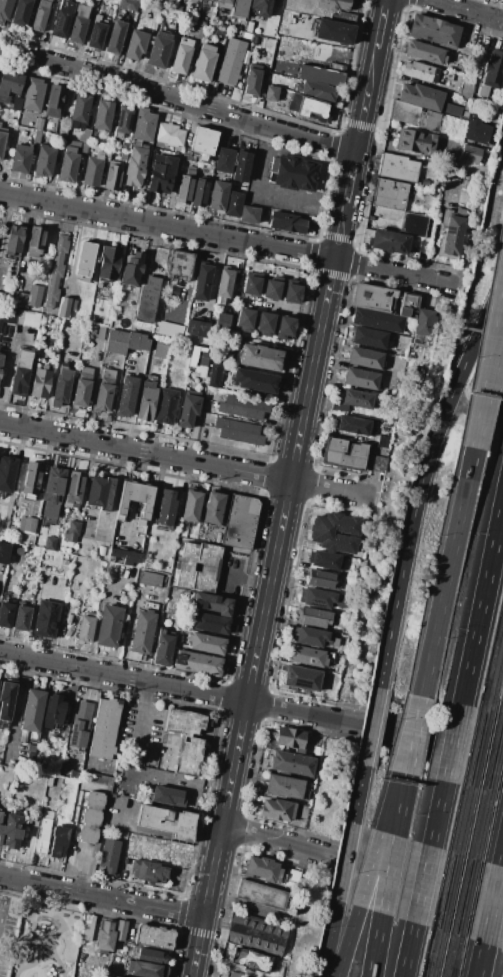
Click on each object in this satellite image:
building: (224, 4)
building: (333, 4)
building: (128, 5)
building: (261, 7)
building: (5, 8)
building: (240, 9)
road: (466, 11)
building: (21, 12)
building: (40, 16)
building: (343, 17)
building: (61, 19)
building: (78, 23)
building: (198, 28)
building: (219, 29)
building: (247, 29)
building: (433, 31)
building: (97, 32)
building: (333, 32)
building: (115, 37)
building: (136, 45)
building: (159, 50)
building: (424, 52)
building: (183, 55)
building: (231, 61)
building: (204, 62)
building: (451, 66)
building: (337, 67)
building: (421, 71)
building: (321, 75)
building: (491, 75)
building: (253, 79)
building: (9, 85)
building: (466, 87)
building: (317, 90)
building: (271, 93)
building: (33, 95)
building: (421, 96)
road: (177, 99)
building: (55, 100)
building: (17, 103)
building: (466, 107)
building: (309, 108)
building: (450, 109)
building: (80, 111)
building: (465, 113)
building: (415, 115)
building: (103, 116)
building: (123, 121)
building: (0, 124)
building: (38, 124)
building: (143, 125)
building: (478, 131)
building: (169, 134)
building: (84, 136)
building: (36, 137)
building: (2, 141)
building: (203, 142)
building: (414, 142)
building: (124, 146)
building: (72, 147)
building: (83, 149)
building: (470, 154)
building: (122, 155)
building: (21, 158)
building: (225, 160)
building: (44, 162)
building: (136, 166)
building: (397, 166)
building: (68, 167)
building: (241, 167)
building: (92, 169)
building: (293, 173)
building: (161, 174)
building: (113, 176)
building: (186, 186)
building: (413, 189)
building: (200, 192)
building: (390, 193)
building: (218, 196)
building: (234, 203)
building: (249, 214)
road: (4, 216)
building: (385, 218)
building: (287, 223)
building: (413, 224)
building: (451, 233)
road: (228, 238)
building: (13, 240)
building: (35, 240)
building: (389, 241)
building: (424, 245)
road: (73, 251)
building: (87, 260)
building: (108, 265)
building: (179, 266)
building: (132, 269)
building: (55, 271)
building: (202, 281)
building: (252, 283)
building: (224, 286)
building: (272, 287)
building: (292, 292)
building: (28, 297)
building: (2, 298)
building: (373, 298)
building: (147, 300)
building: (66, 306)
building: (409, 306)
building: (8, 316)
building: (28, 319)
building: (244, 319)
building: (377, 320)
building: (66, 322)
building: (423, 322)
building: (265, 323)
building: (222, 324)
building: (285, 327)
building: (197, 328)
building: (90, 329)
building: (368, 338)
building: (116, 341)
building: (137, 342)
building: (161, 348)
road: (486, 353)
building: (260, 357)
building: (201, 358)
building: (364, 358)
building: (1, 360)
road: (7, 363)
building: (21, 371)
building: (396, 371)
building: (214, 374)
building: (360, 378)
road: (50, 381)
building: (254, 381)
building: (40, 382)
road: (487, 383)
building: (61, 386)
building: (82, 387)
building: (105, 390)
building: (357, 398)
building: (125, 399)
building: (146, 400)
building: (166, 406)
building: (244, 406)
building: (339, 406)
building: (188, 410)
building: (355, 425)
building: (239, 431)
building: (385, 441)
building: (334, 449)
road: (186, 459)
building: (376, 463)
building: (7, 473)
road: (39, 479)
road: (420, 479)
building: (31, 480)
road: (287, 488)
building: (73, 491)
building: (53, 493)
building: (100, 493)
road: (112, 497)
building: (135, 501)
building: (190, 506)
building: (213, 508)
building: (166, 509)
building: (240, 522)
building: (27, 525)
building: (72, 532)
building: (335, 532)
building: (53, 534)
building: (37, 543)
building: (49, 543)
building: (18, 551)
building: (101, 551)
building: (4, 552)
building: (124, 556)
building: (326, 560)
building: (197, 565)
building: (120, 571)
road: (446, 571)
building: (351, 573)
road: (243, 577)
building: (150, 579)
building: (325, 579)
building: (321, 599)
road: (481, 602)
building: (72, 604)
building: (213, 604)
building: (150, 605)
road: (34, 609)
building: (6, 614)
building: (21, 617)
building: (68, 618)
building: (315, 618)
building: (46, 619)
road: (95, 619)
building: (210, 623)
building: (109, 626)
building: (86, 629)
building: (143, 631)
building: (314, 637)
building: (201, 642)
building: (163, 650)
building: (342, 653)
building: (307, 656)
railway: (492, 662)
building: (197, 663)
building: (301, 677)
railway: (497, 685)
building: (6, 702)
road: (251, 703)
railway: (501, 707)
road: (13, 712)
building: (53, 712)
building: (32, 713)
road: (139, 719)
building: (183, 722)
building: (81, 725)
road: (371, 726)
building: (105, 728)
road: (410, 734)
road: (414, 735)
building: (23, 736)
building: (290, 739)
road: (452, 742)
building: (31, 748)
railway: (473, 749)
railway: (482, 751)
railway: (491, 752)
building: (0, 753)
building: (189, 756)
building: (293, 765)
building: (66, 767)
railway: (497, 768)
building: (73, 774)
building: (49, 780)
building: (284, 787)
road: (357, 794)
building: (168, 795)
road: (390, 801)
road: (401, 804)
building: (277, 809)
building: (303, 813)
road: (437, 813)
building: (91, 817)
railway: (458, 820)
building: (168, 821)
railway: (467, 822)
railway: (475, 824)
railway: (484, 827)
building: (1, 829)
building: (12, 831)
road: (153, 832)
building: (43, 834)
building: (59, 841)
building: (108, 857)
road: (501, 858)
road: (344, 861)
road: (361, 867)
road: (369, 868)
building: (264, 870)
building: (148, 871)
road: (388, 874)
building: (292, 877)
road: (422, 884)
railway: (442, 892)
railway: (451, 894)
building: (261, 895)
road: (101, 896)
railway: (459, 897)
railway: (469, 900)
road: (491, 904)
road: (241, 905)
building: (86, 927)
building: (120, 930)
building: (256, 933)
building: (154, 937)
building: (105, 938)
road: (328, 938)
road: (48, 941)
road: (347, 941)
park: (48, 942)
road: (375, 945)
railway: (430, 946)
road: (407, 950)
railway: (438, 955)
building: (150, 956)
railway: (446, 956)
railway: (456, 958)
building: (251, 960)
road: (479, 960)
building: (144, 969)
railway: (425, 969)
railway: (425, 969)
railway: (452, 973)
building: (235, 974)
building: (112, 976)
building: (116, 976)

